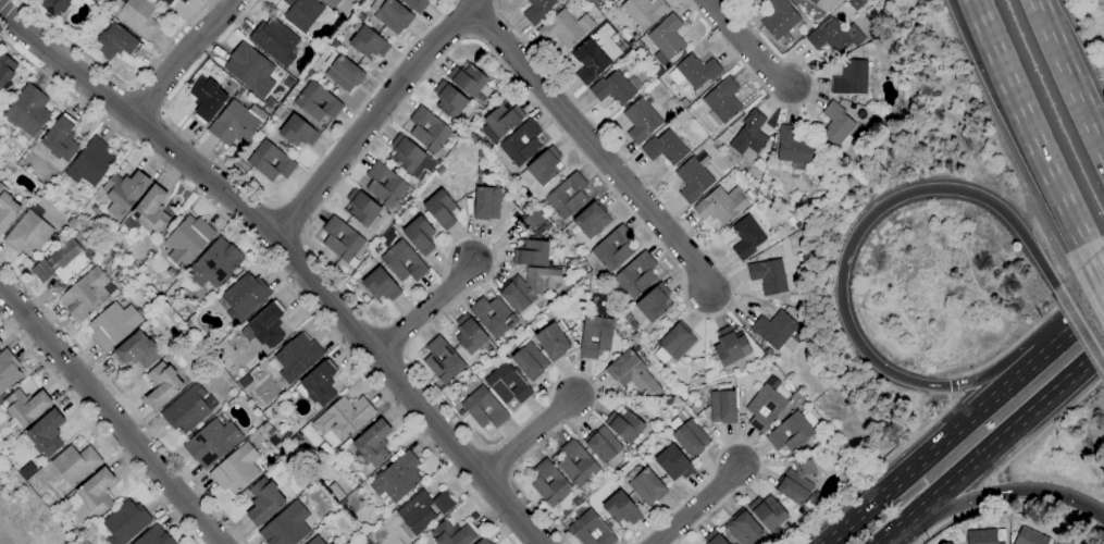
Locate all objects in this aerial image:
road: (1, 1)
building: (168, 1)
building: (182, 1)
building: (795, 1)
building: (811, 1)
building: (331, 2)
road: (689, 3)
building: (415, 4)
building: (54, 7)
building: (536, 10)
building: (643, 11)
building: (301, 13)
building: (390, 15)
building: (136, 16)
building: (778, 18)
building: (563, 28)
building: (833, 36)
building: (666, 37)
building: (274, 40)
building: (365, 41)
building: (115, 42)
road: (748, 47)
road: (770, 52)
road: (179, 57)
building: (588, 61)
road: (66, 64)
building: (5, 69)
building: (250, 69)
road: (746, 70)
building: (696, 71)
building: (343, 72)
road: (1068, 76)
building: (467, 78)
building: (849, 78)
road: (116, 79)
road: (129, 87)
building: (612, 88)
building: (206, 99)
building: (448, 100)
building: (722, 100)
building: (317, 102)
road: (146, 103)
building: (683, 103)
building: (26, 113)
road: (375, 116)
building: (500, 121)
building: (641, 121)
building: (235, 123)
building: (835, 124)
road: (1025, 127)
building: (427, 129)
building: (297, 132)
building: (748, 134)
building: (59, 140)
building: (520, 144)
road: (592, 146)
building: (793, 146)
building: (665, 148)
building: (408, 154)
building: (269, 162)
building: (89, 163)
building: (542, 168)
road: (342, 176)
building: (692, 180)
building: (384, 185)
building: (123, 193)
building: (567, 196)
road: (268, 201)
building: (486, 202)
building: (720, 205)
building: (7, 209)
building: (361, 209)
building: (441, 209)
building: (150, 210)
building: (532, 220)
building: (591, 220)
building: (27, 231)
building: (419, 235)
building: (746, 237)
building: (187, 240)
building: (342, 240)
building: (612, 249)
building: (531, 252)
building: (61, 262)
building: (402, 262)
building: (214, 263)
road: (1094, 269)
road: (274, 272)
road: (843, 273)
building: (635, 275)
building: (768, 276)
building: (380, 285)
building: (528, 287)
building: (85, 294)
building: (244, 296)
building: (654, 302)
road: (425, 310)
building: (493, 316)
road: (346, 319)
building: (266, 324)
building: (112, 325)
road: (1029, 329)
building: (779, 330)
road: (1080, 330)
building: (469, 334)
building: (595, 336)
building: (553, 341)
building: (0, 344)
building: (673, 344)
building: (729, 347)
building: (136, 351)
building: (293, 359)
building: (442, 360)
building: (529, 361)
building: (8, 370)
building: (632, 373)
building: (318, 384)
building: (507, 384)
building: (161, 385)
road: (952, 385)
road: (124, 403)
building: (722, 405)
building: (24, 408)
building: (483, 408)
building: (764, 408)
building: (188, 409)
road: (111, 417)
building: (343, 419)
road: (964, 422)
building: (624, 424)
road: (97, 430)
road: (1043, 431)
building: (46, 433)
building: (790, 433)
road: (530, 436)
building: (691, 438)
building: (211, 442)
road: (741, 442)
building: (372, 444)
building: (601, 444)
road: (991, 445)
building: (75, 463)
building: (575, 463)
building: (672, 463)
building: (235, 469)
road: (876, 470)
building: (305, 477)
building: (396, 479)
building: (796, 481)
building: (549, 483)
building: (645, 485)
building: (335, 492)
building: (92, 493)
road: (984, 495)
road: (990, 495)
building: (263, 500)
road: (693, 506)
building: (620, 508)
building: (423, 510)
building: (767, 512)
park: (23, 516)
road: (947, 520)
building: (123, 522)
building: (286, 526)
building: (744, 529)
building: (591, 530)
building: (452, 533)
building: (153, 536)
building: (985, 536)
building: (1029, 536)
building: (712, 537)
building: (314, 541)
building: (483, 541)
building: (330, 543)
building: (332, 543)

